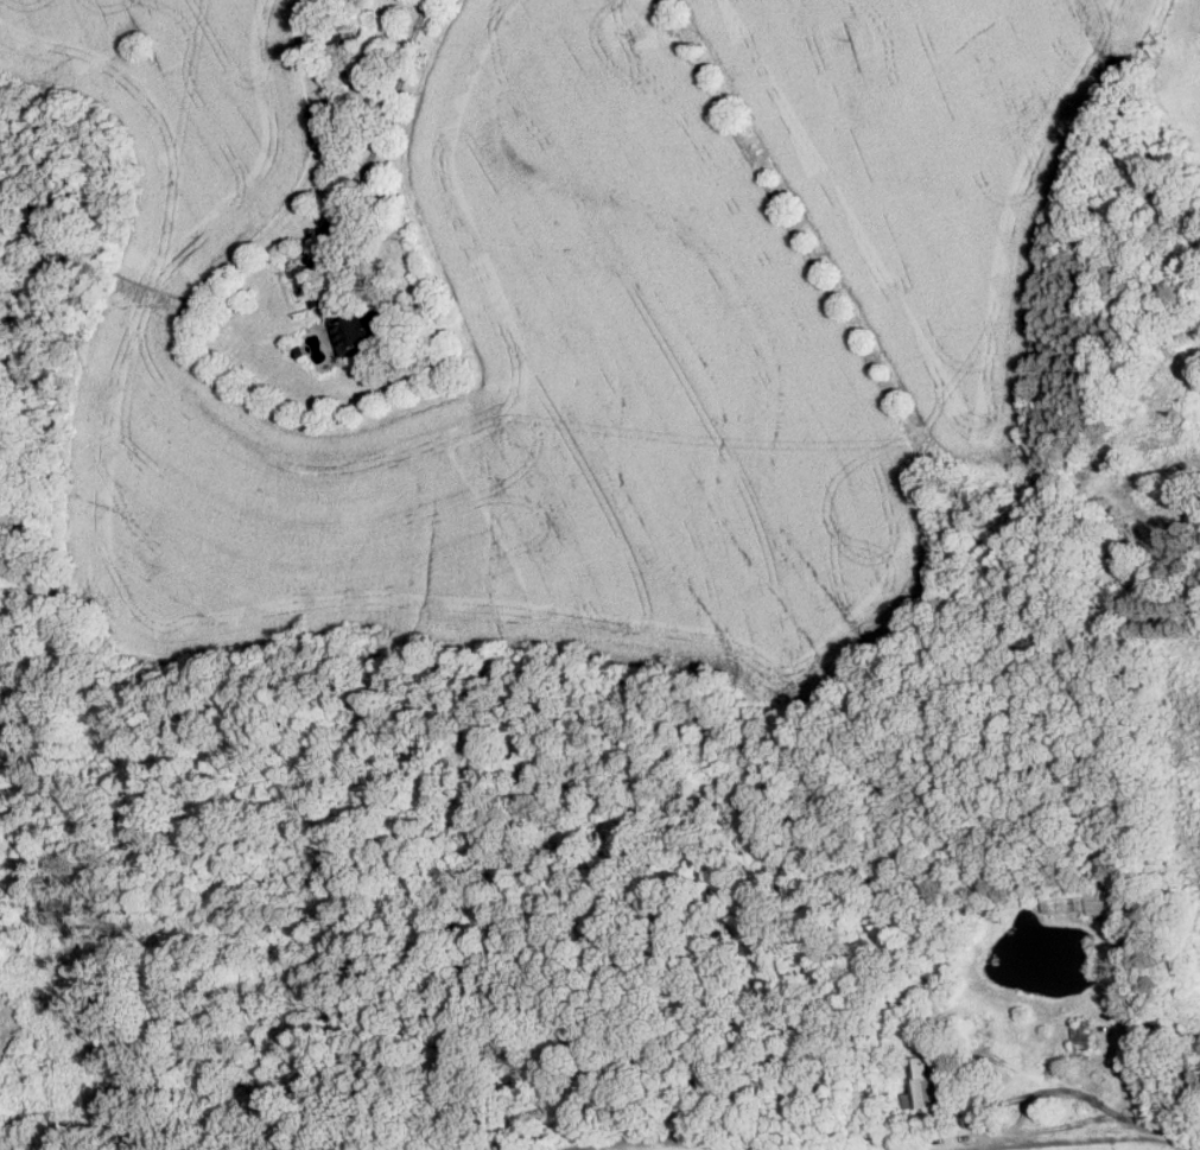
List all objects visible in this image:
road: (380, 146)
building: (317, 288)
building: (358, 328)
building: (1086, 896)
building: (1084, 1037)
road: (1125, 1056)
building: (920, 1082)
road: (980, 1113)
road: (1156, 1123)

